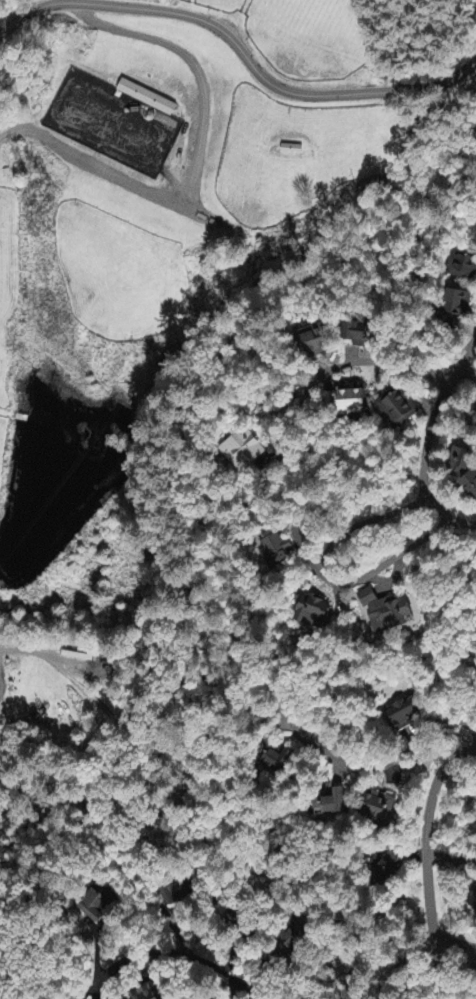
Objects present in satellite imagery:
road: (238, 52)
building: (145, 99)
road: (195, 160)
building: (461, 268)
building: (454, 307)
building: (355, 335)
building: (313, 343)
road: (394, 364)
building: (351, 400)
building: (397, 409)
road: (426, 441)
building: (463, 473)
building: (277, 554)
road: (326, 578)
building: (387, 612)
building: (312, 613)
road: (15, 652)
building: (405, 715)
building: (276, 759)
road: (381, 767)
road: (459, 774)
building: (377, 807)
road: (451, 857)
road: (426, 862)
building: (384, 869)
building: (174, 894)
building: (472, 902)
building: (98, 903)
road: (455, 948)
road: (166, 953)
building: (146, 994)

